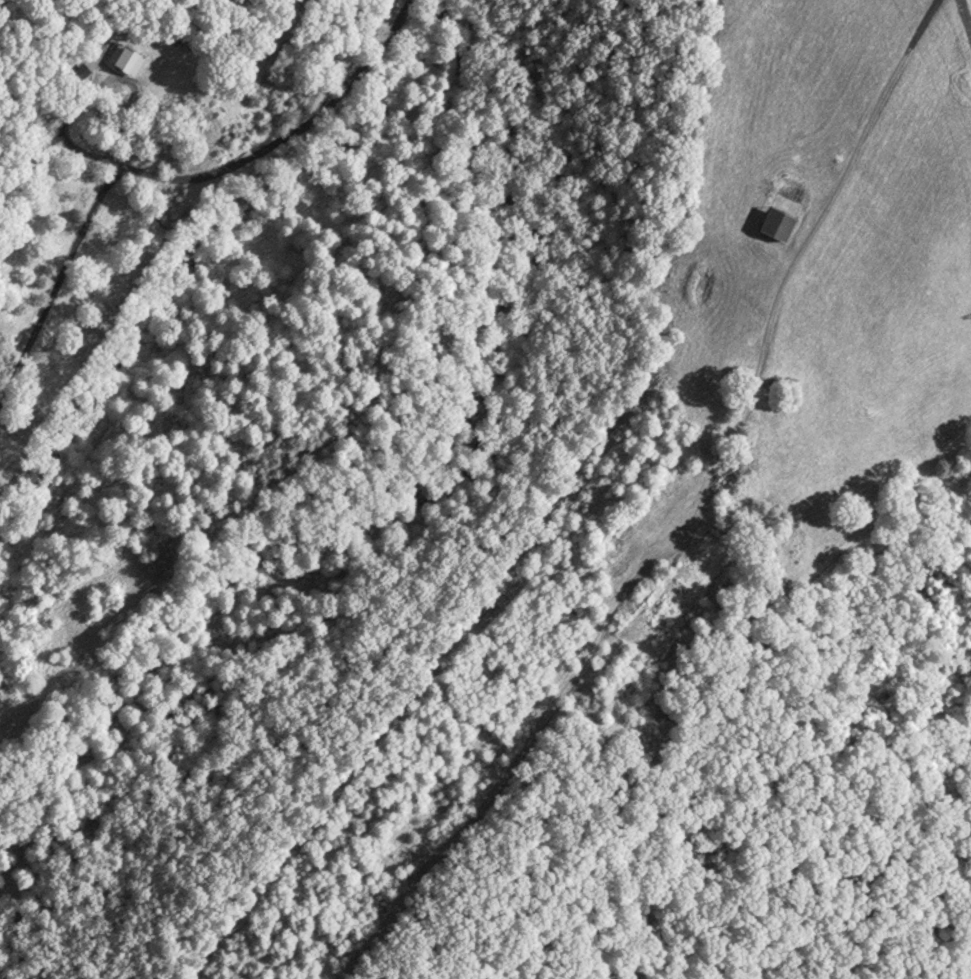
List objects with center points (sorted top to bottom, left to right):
road: (947, 2)
building: (130, 60)
road: (152, 162)

